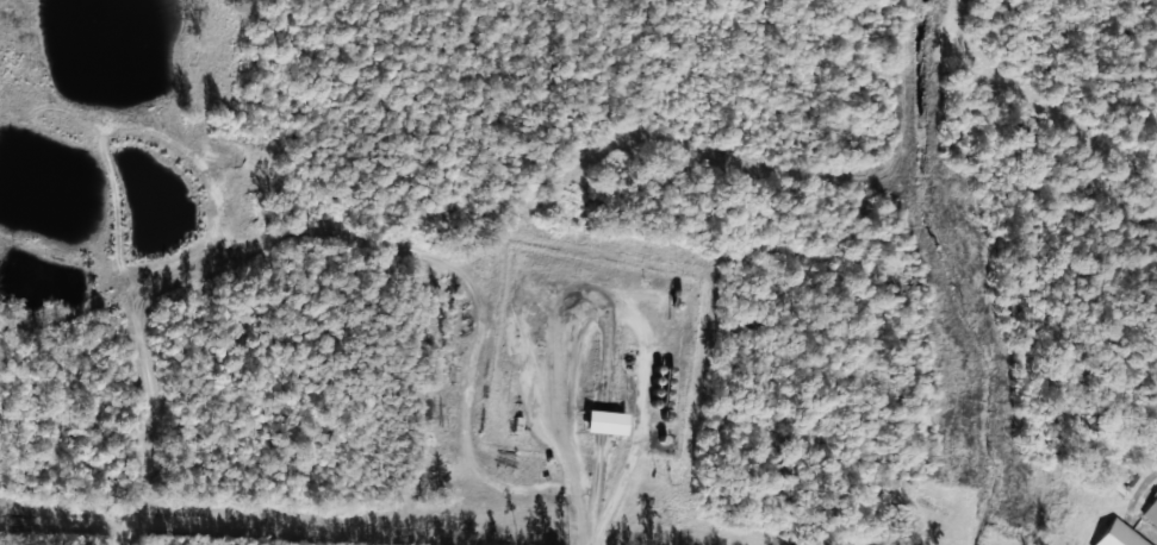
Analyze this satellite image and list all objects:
building: (607, 421)
building: (1151, 513)
building: (1119, 535)

